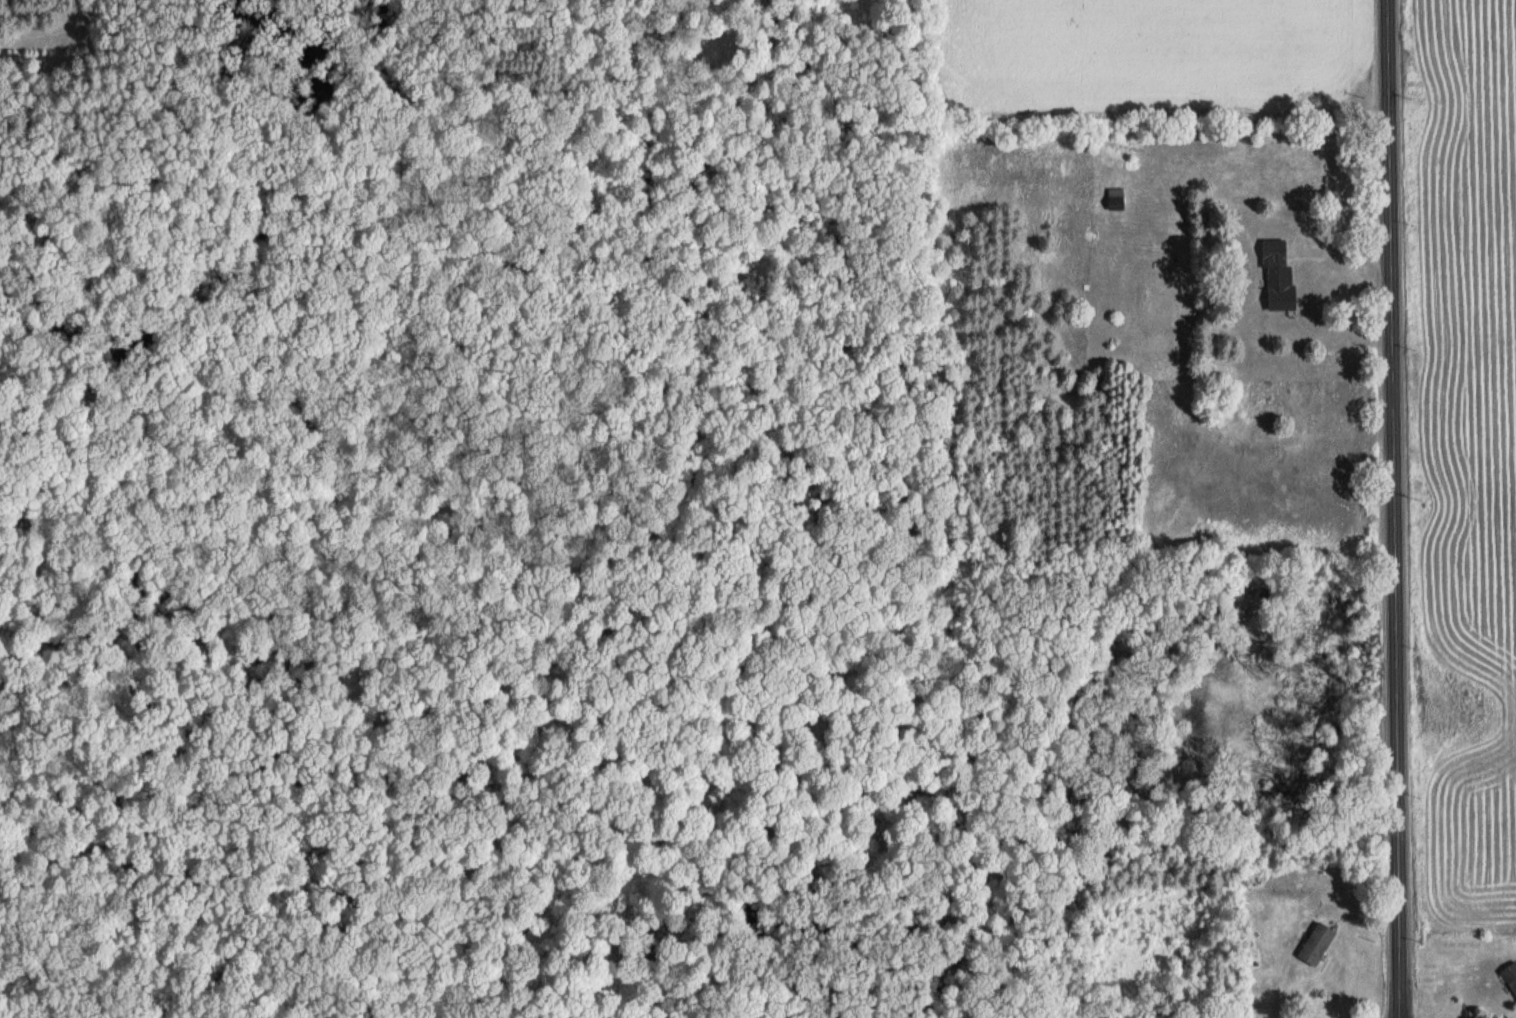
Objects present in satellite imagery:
building: (1114, 198)
building: (1276, 273)
road: (1392, 509)
building: (1315, 943)
building: (1510, 976)

